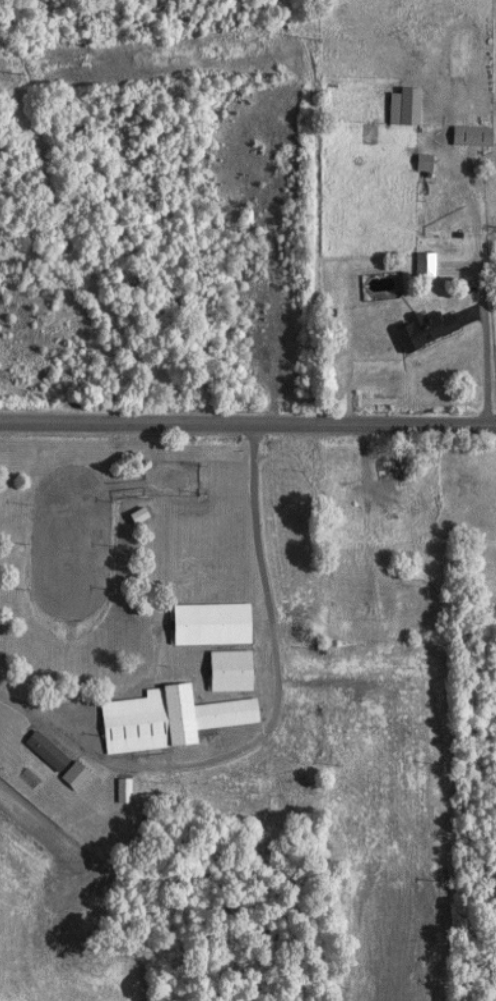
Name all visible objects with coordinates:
building: (395, 107)
building: (463, 137)
building: (417, 266)
building: (415, 329)
road: (482, 366)
road: (363, 381)
road: (248, 426)
building: (381, 469)
building: (130, 516)
building: (202, 624)
building: (222, 671)
building: (159, 720)
road: (271, 728)
building: (38, 752)
building: (116, 791)

